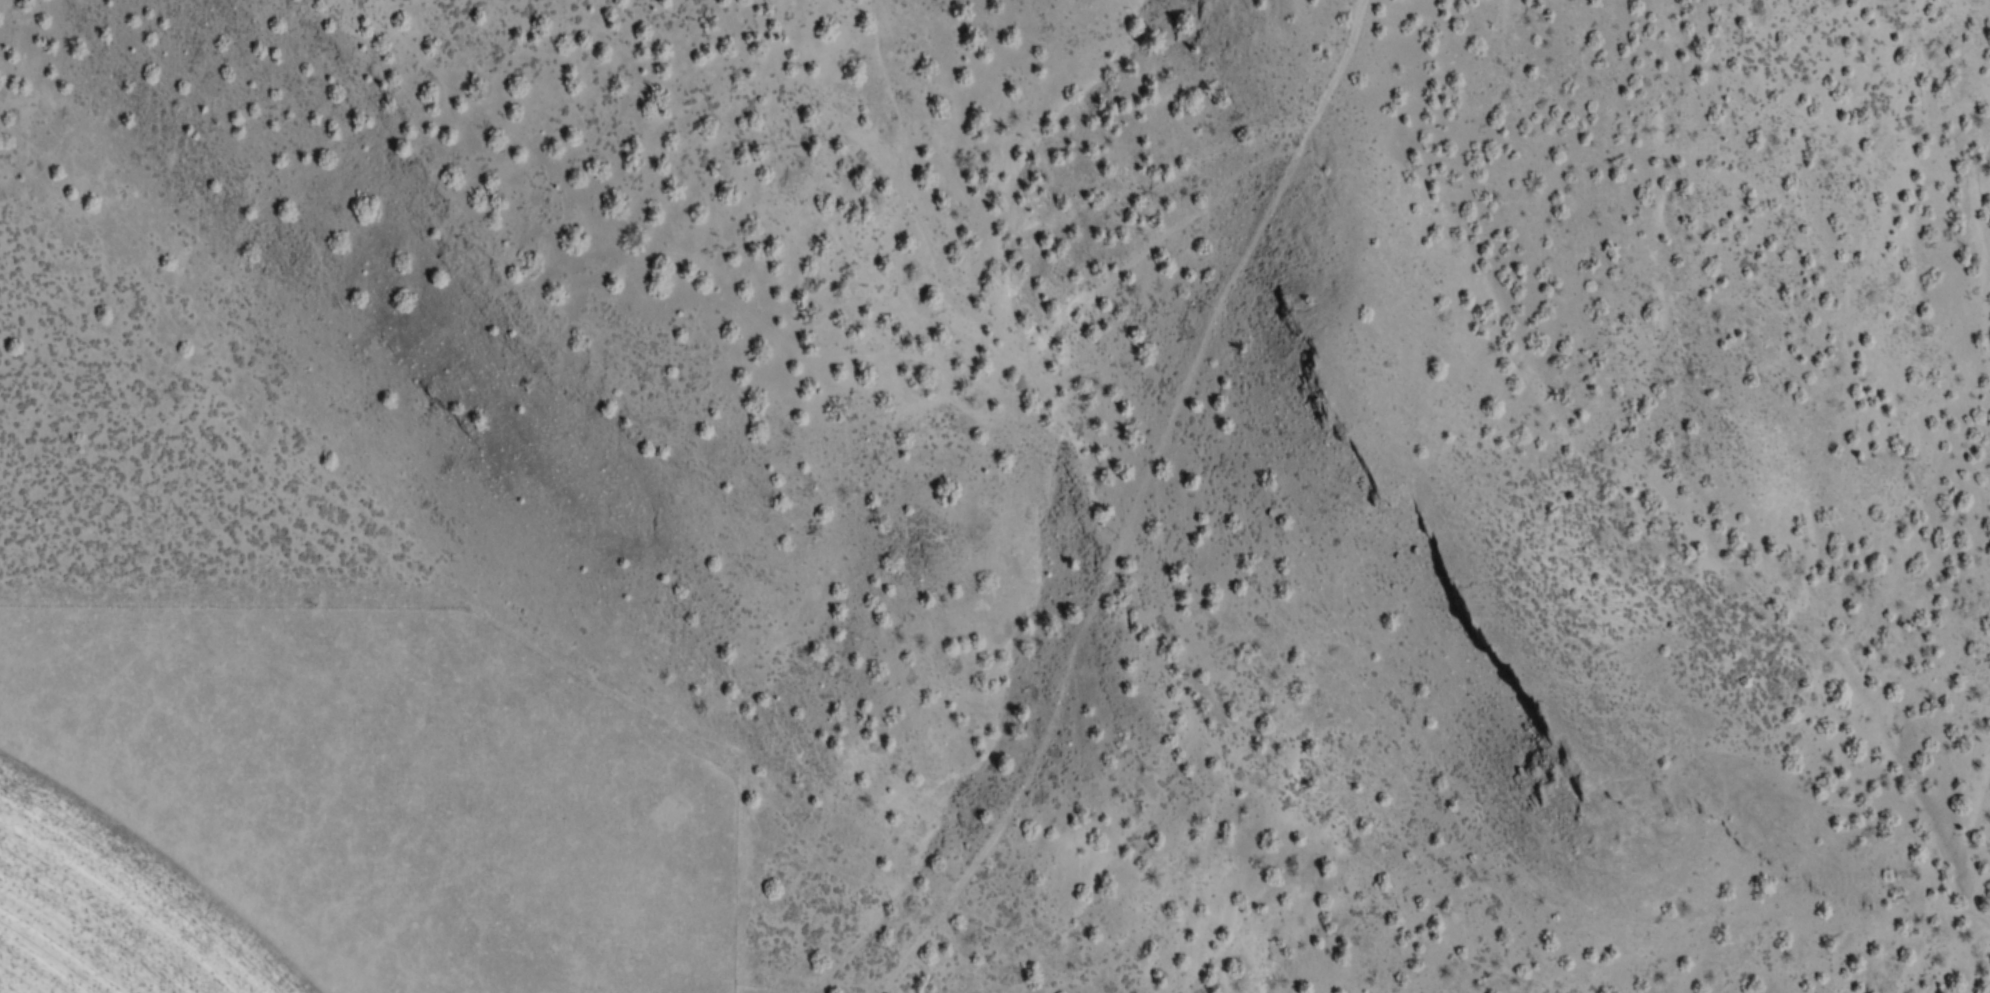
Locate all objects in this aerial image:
road: (1116, 496)
crop: (112, 909)

